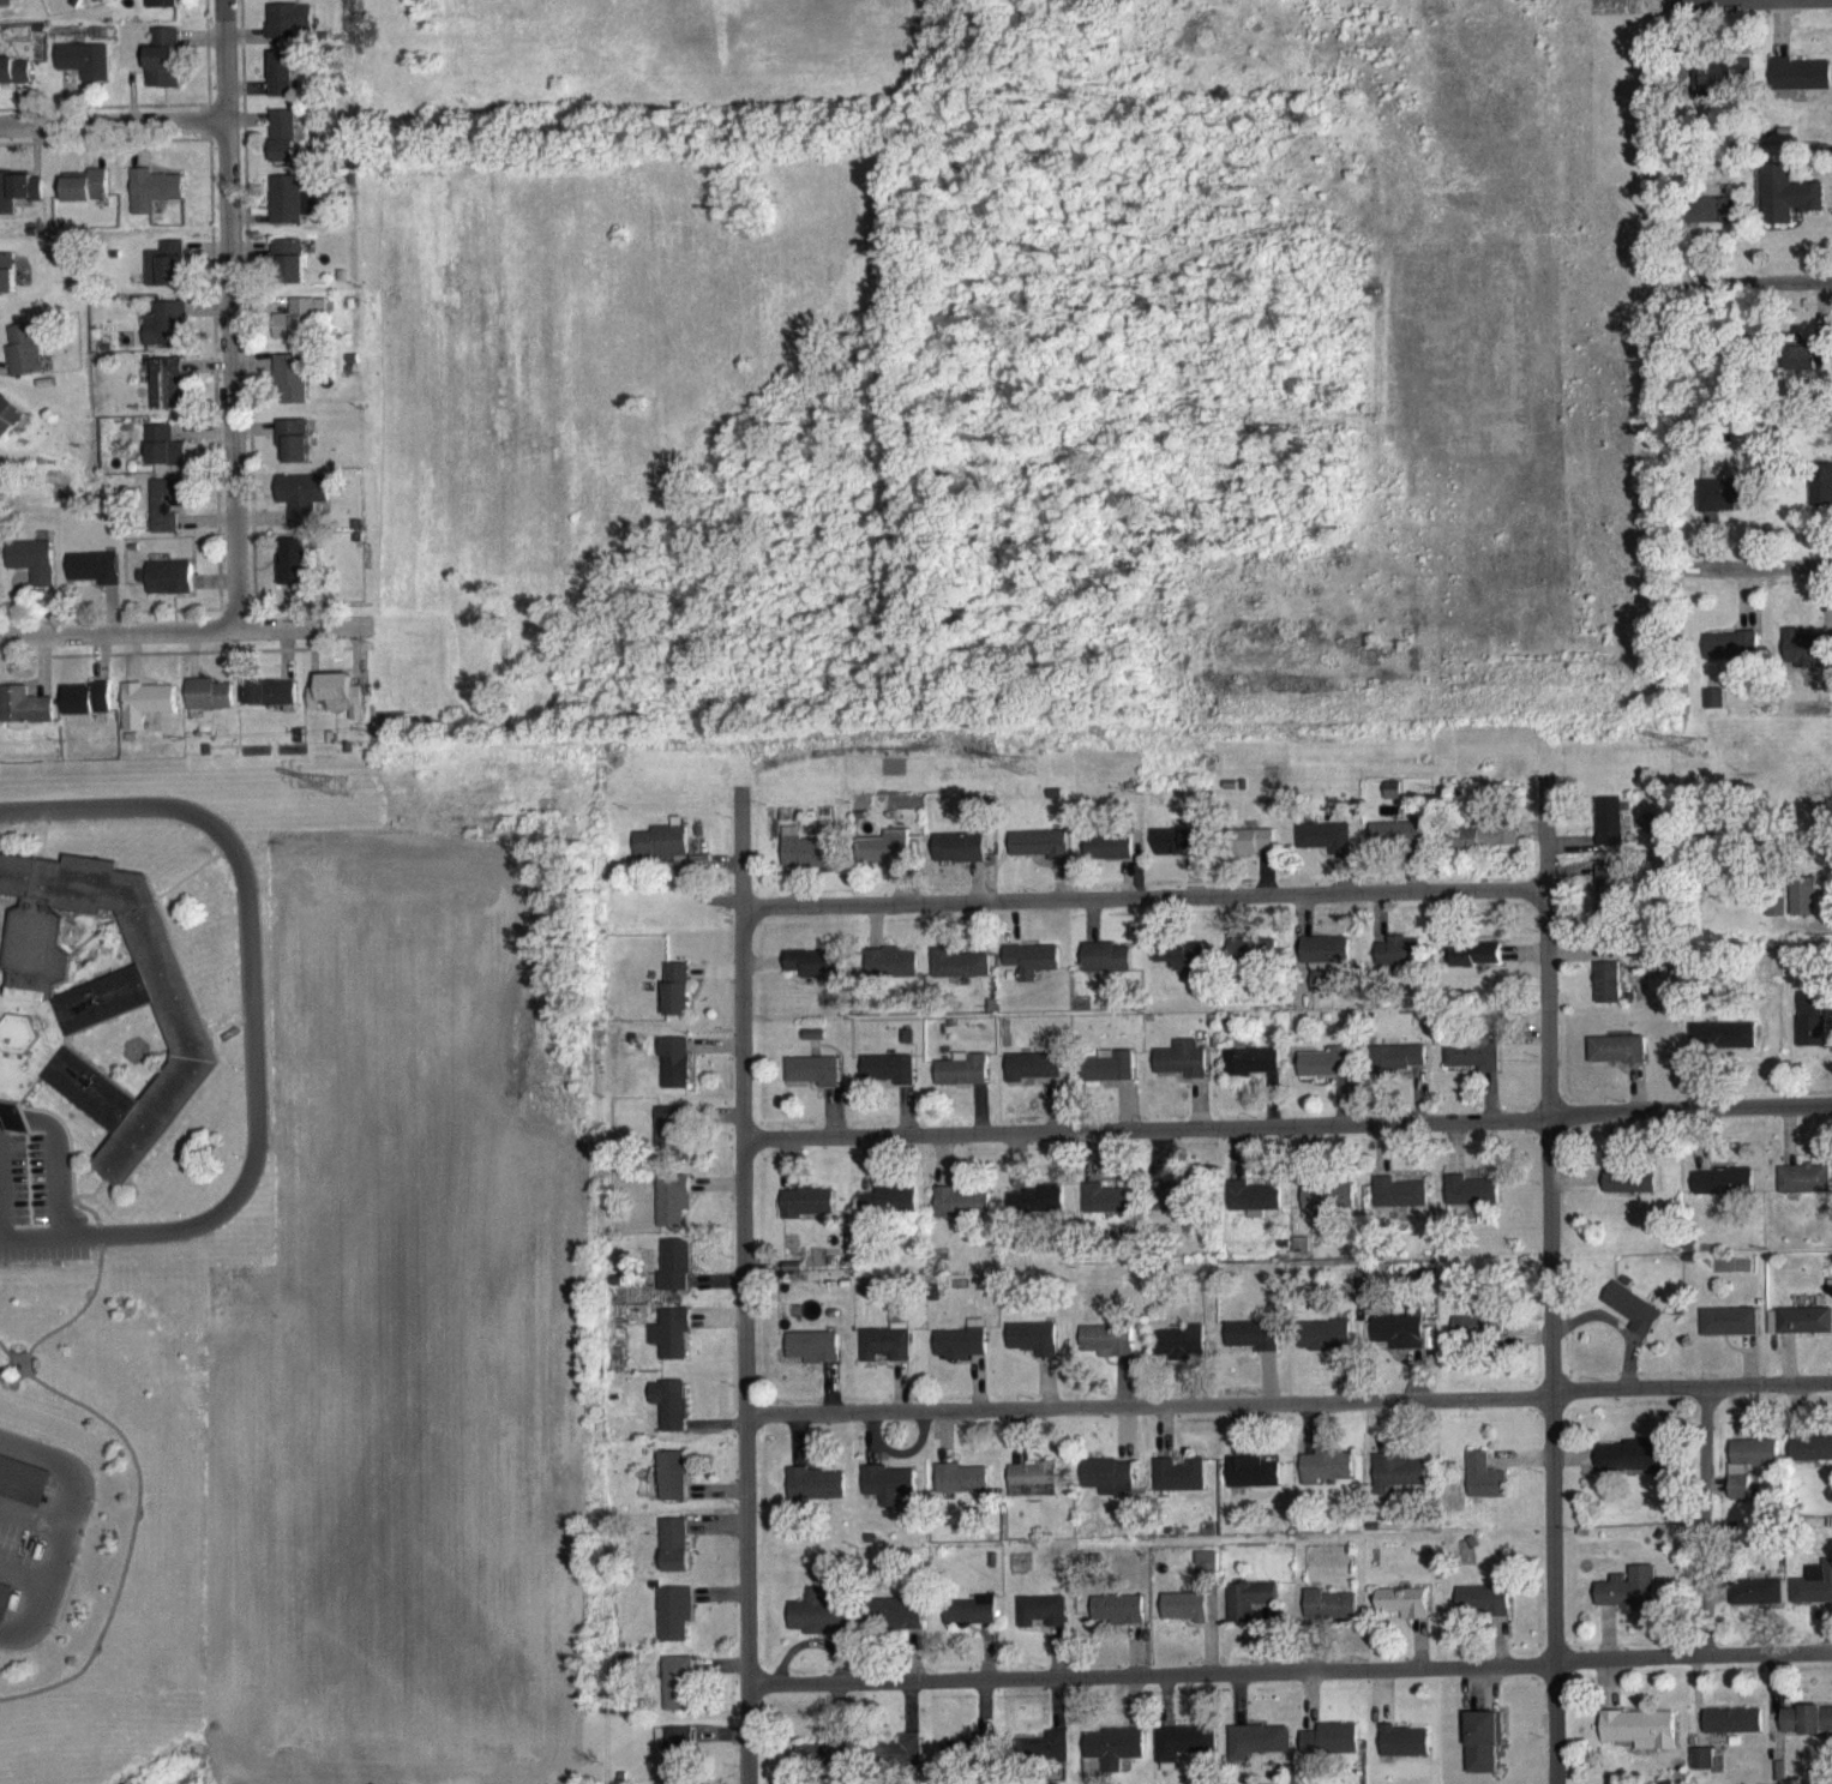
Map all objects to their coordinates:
building: (10, 7)
building: (162, 10)
building: (290, 32)
building: (164, 70)
building: (85, 72)
building: (14, 80)
building: (283, 85)
building: (1800, 86)
building: (1717, 88)
road: (113, 119)
building: (283, 148)
building: (86, 198)
building: (18, 202)
building: (154, 202)
building: (1788, 208)
building: (286, 211)
building: (1713, 222)
building: (289, 274)
building: (167, 276)
road: (1762, 282)
building: (6, 284)
road: (230, 312)
building: (299, 331)
building: (166, 336)
building: (24, 362)
building: (1809, 368)
building: (290, 390)
building: (166, 396)
building: (8, 428)
building: (294, 451)
building: (162, 456)
building: (1820, 497)
building: (1728, 506)
building: (304, 510)
building: (167, 515)
road: (1758, 565)
building: (32, 572)
building: (294, 575)
building: (94, 579)
building: (169, 589)
road: (179, 627)
building: (1732, 660)
building: (1807, 660)
building: (269, 704)
building: (208, 705)
building: (337, 707)
building: (88, 710)
building: (1714, 710)
building: (144, 715)
building: (24, 719)
power tower: (1695, 739)
power tower: (1027, 768)
power tower: (337, 789)
building: (1393, 801)
building: (1610, 833)
building: (1398, 846)
building: (1488, 847)
building: (1325, 848)
building: (661, 853)
building: (1182, 853)
building: (1251, 853)
building: (1040, 855)
building: (885, 859)
building: (959, 859)
building: (1109, 859)
building: (806, 863)
road: (1146, 895)
building: (1610, 902)
building: (1803, 908)
building: (1776, 919)
building: (1326, 962)
building: (1251, 963)
building: (1399, 963)
building: (1473, 966)
building: (1182, 968)
building: (1106, 969)
building: (1032, 972)
building: (813, 975)
building: (890, 975)
building: (960, 975)
building: (1609, 995)
building: (675, 1001)
building: (94, 1008)
building: (1810, 1029)
road: (252, 1031)
building: (1734, 1047)
building: (1617, 1061)
building: (1473, 1065)
building: (1398, 1069)
building: (1182, 1071)
building: (1250, 1073)
building: (674, 1074)
building: (1326, 1074)
building: (1034, 1079)
building: (1109, 1079)
building: (890, 1080)
building: (963, 1081)
building: (815, 1082)
road: (1287, 1123)
building: (671, 1141)
building: (1804, 1191)
building: (1724, 1193)
building: (1630, 1194)
building: (1471, 1203)
building: (1399, 1205)
building: (1175, 1209)
building: (1254, 1209)
building: (1328, 1209)
building: (1110, 1211)
building: (673, 1212)
building: (1038, 1212)
building: (889, 1213)
building: (807, 1214)
building: (961, 1214)
road: (0, 1236)
building: (675, 1277)
road: (744, 1284)
road: (1551, 1295)
building: (1634, 1321)
building: (1800, 1332)
building: (1730, 1333)
building: (1478, 1339)
building: (1400, 1341)
building: (672, 1346)
building: (1253, 1347)
building: (1325, 1347)
building: (1033, 1350)
building: (1107, 1352)
building: (961, 1353)
building: (1179, 1353)
building: (887, 1354)
building: (813, 1358)
road: (1289, 1400)
building: (671, 1416)
building: (1812, 1461)
building: (1633, 1468)
building: (1749, 1473)
building: (1326, 1477)
building: (1398, 1482)
building: (23, 1483)
building: (1253, 1484)
building: (1178, 1486)
building: (673, 1488)
building: (1106, 1488)
building: (1484, 1489)
building: (961, 1490)
building: (1033, 1491)
building: (888, 1495)
building: (816, 1496)
road: (1707, 1518)
road: (72, 1522)
building: (675, 1556)
building: (1206, 1578)
building: (1813, 1597)
building: (1628, 1600)
building: (5, 1602)
building: (1755, 1604)
building: (1249, 1610)
building: (1482, 1612)
building: (1404, 1614)
building: (1329, 1617)
building: (1185, 1618)
building: (1118, 1621)
building: (1041, 1622)
building: (971, 1623)
building: (675, 1624)
building: (818, 1624)
building: (897, 1626)
road: (1290, 1669)
building: (678, 1695)
building: (1732, 1732)
building: (1806, 1732)
building: (1639, 1741)
building: (1331, 1750)
building: (1483, 1752)
building: (1257, 1753)
building: (1404, 1753)
building: (1183, 1755)
building: (981, 1756)
building: (1115, 1759)
building: (677, 1760)
building: (1045, 1760)
building: (824, 1764)
building: (901, 1764)
building: (1701, 1771)

